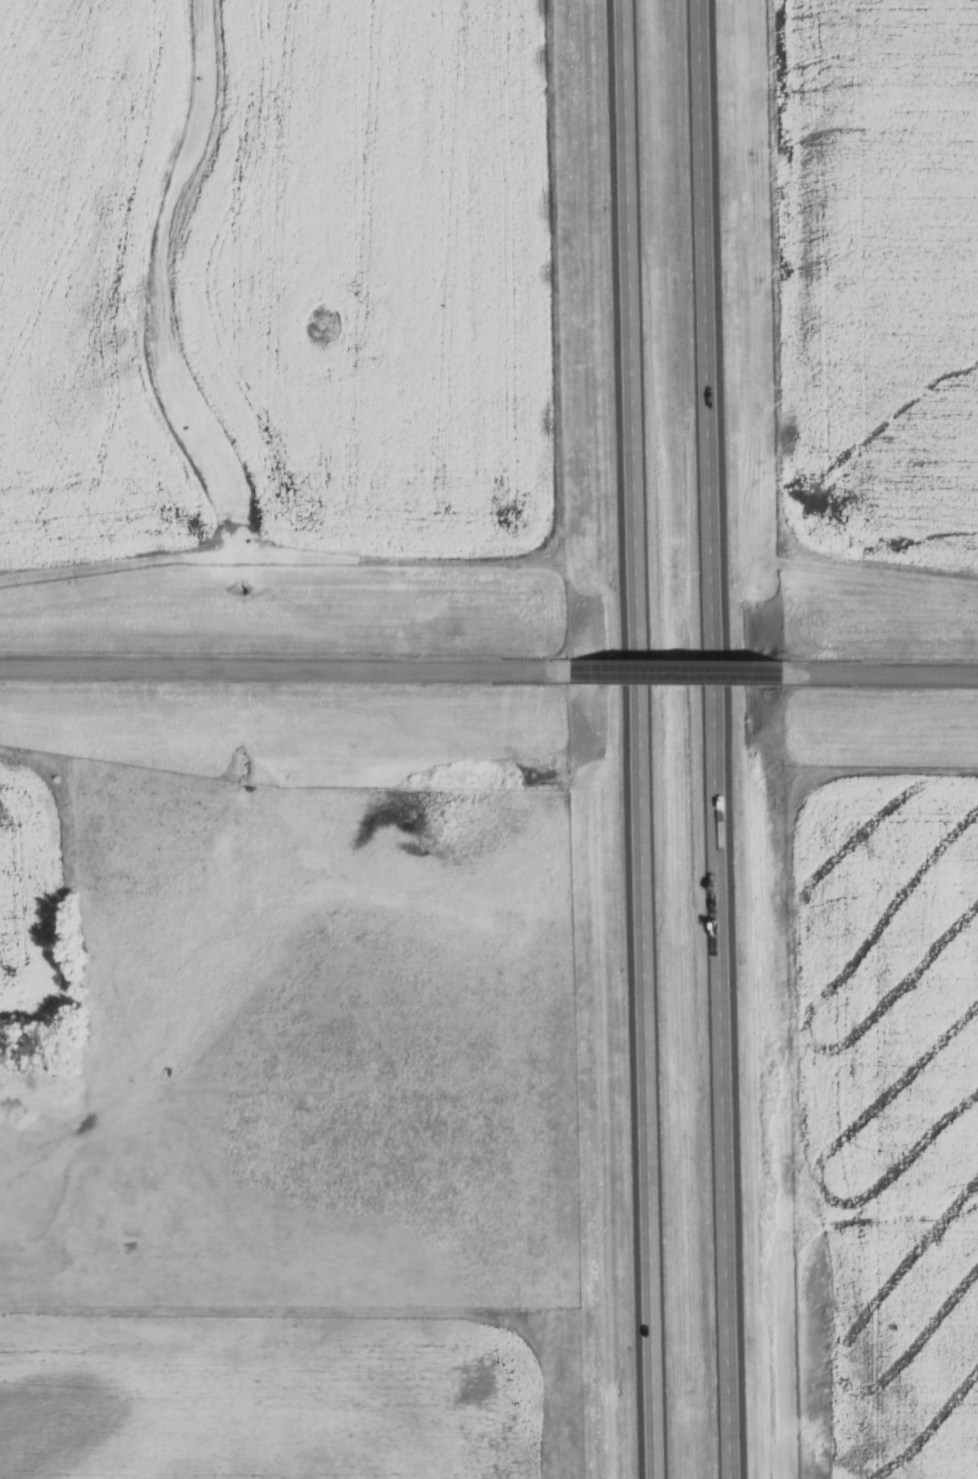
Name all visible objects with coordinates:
road: (279, 668)
road: (675, 670)
road: (885, 672)
road: (638, 739)
road: (722, 739)
building: (128, 1248)

